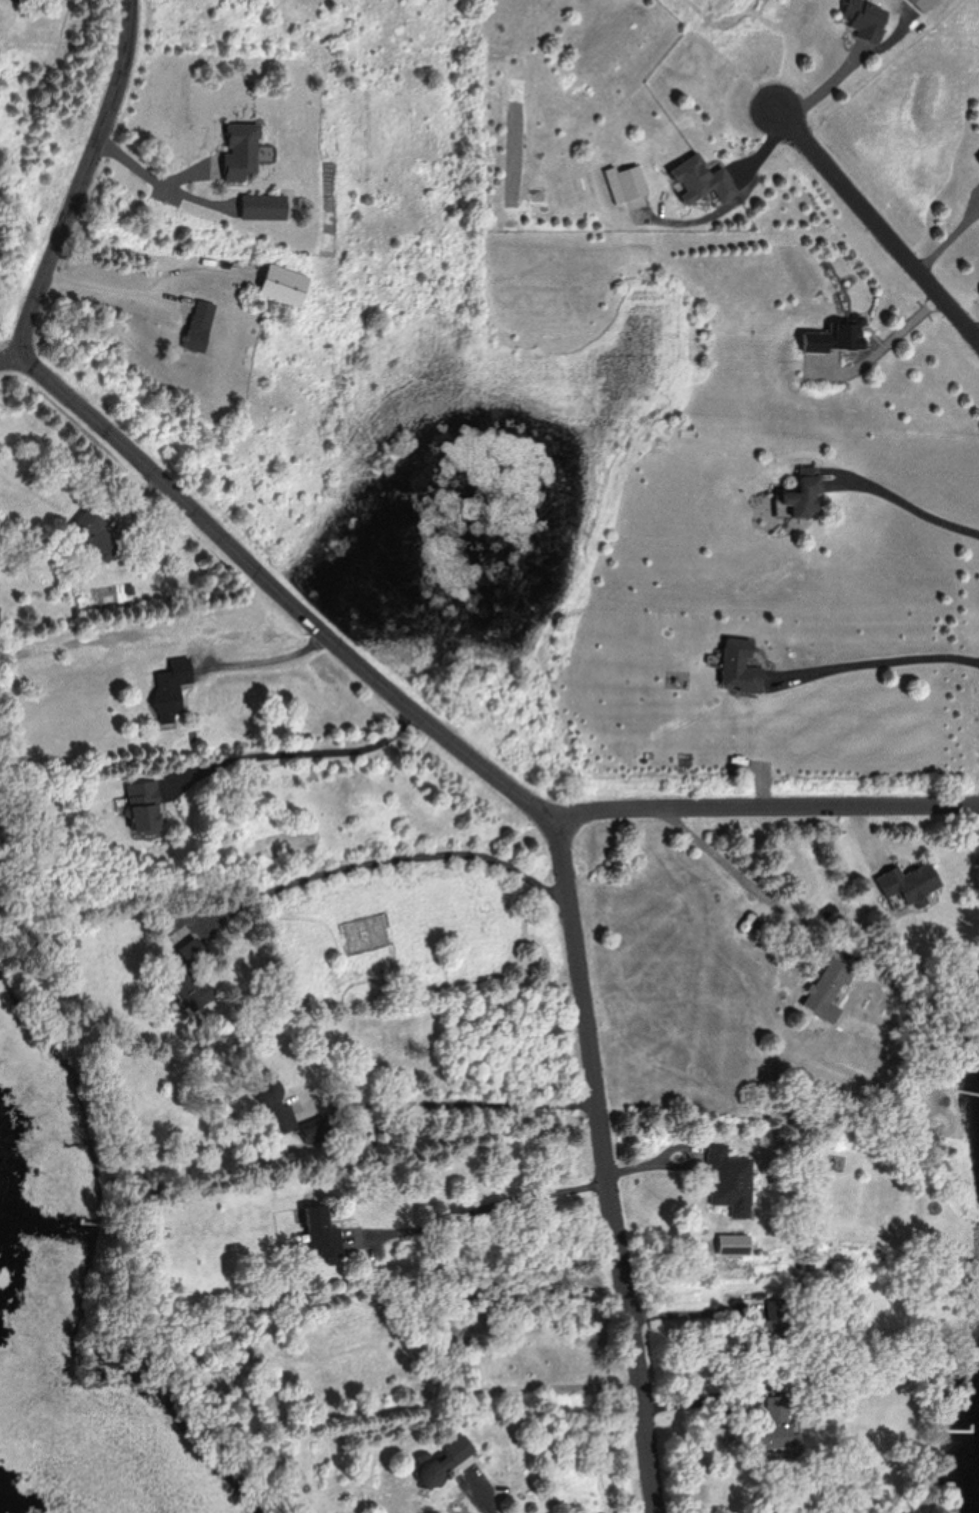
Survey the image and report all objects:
building: (867, 18)
building: (242, 149)
road: (150, 176)
road: (81, 180)
building: (702, 180)
building: (634, 181)
building: (265, 206)
road: (879, 223)
building: (285, 285)
road: (111, 289)
building: (200, 326)
building: (836, 337)
road: (884, 349)
road: (9, 360)
building: (806, 492)
road: (916, 506)
building: (98, 534)
road: (283, 595)
road: (883, 660)
road: (265, 664)
building: (742, 667)
building: (174, 688)
road: (297, 753)
road: (769, 803)
building: (146, 807)
road: (390, 862)
road: (747, 879)
building: (911, 884)
building: (191, 978)
building: (830, 989)
road: (466, 1105)
building: (294, 1120)
road: (608, 1163)
building: (732, 1180)
road: (495, 1208)
building: (324, 1232)
building: (736, 1244)
building: (776, 1322)
building: (776, 1424)
building: (441, 1460)
road: (483, 1495)

